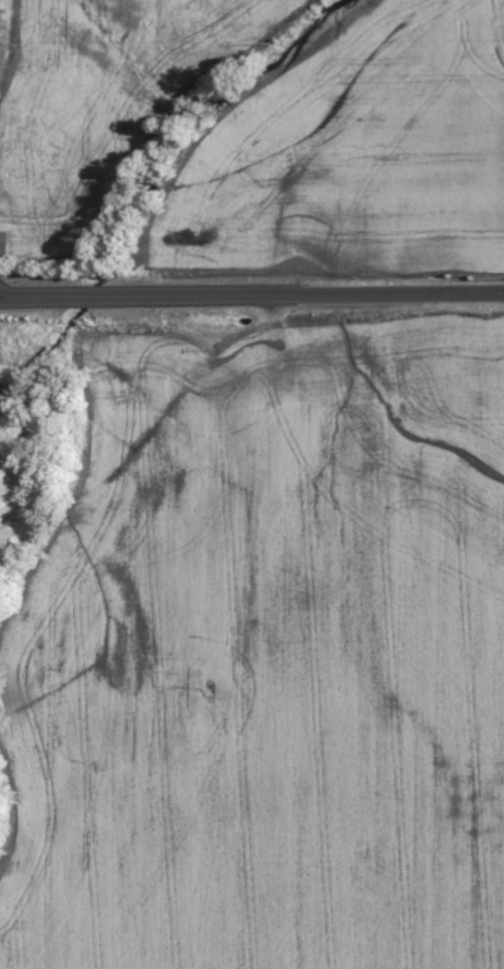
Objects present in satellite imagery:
road: (252, 295)

